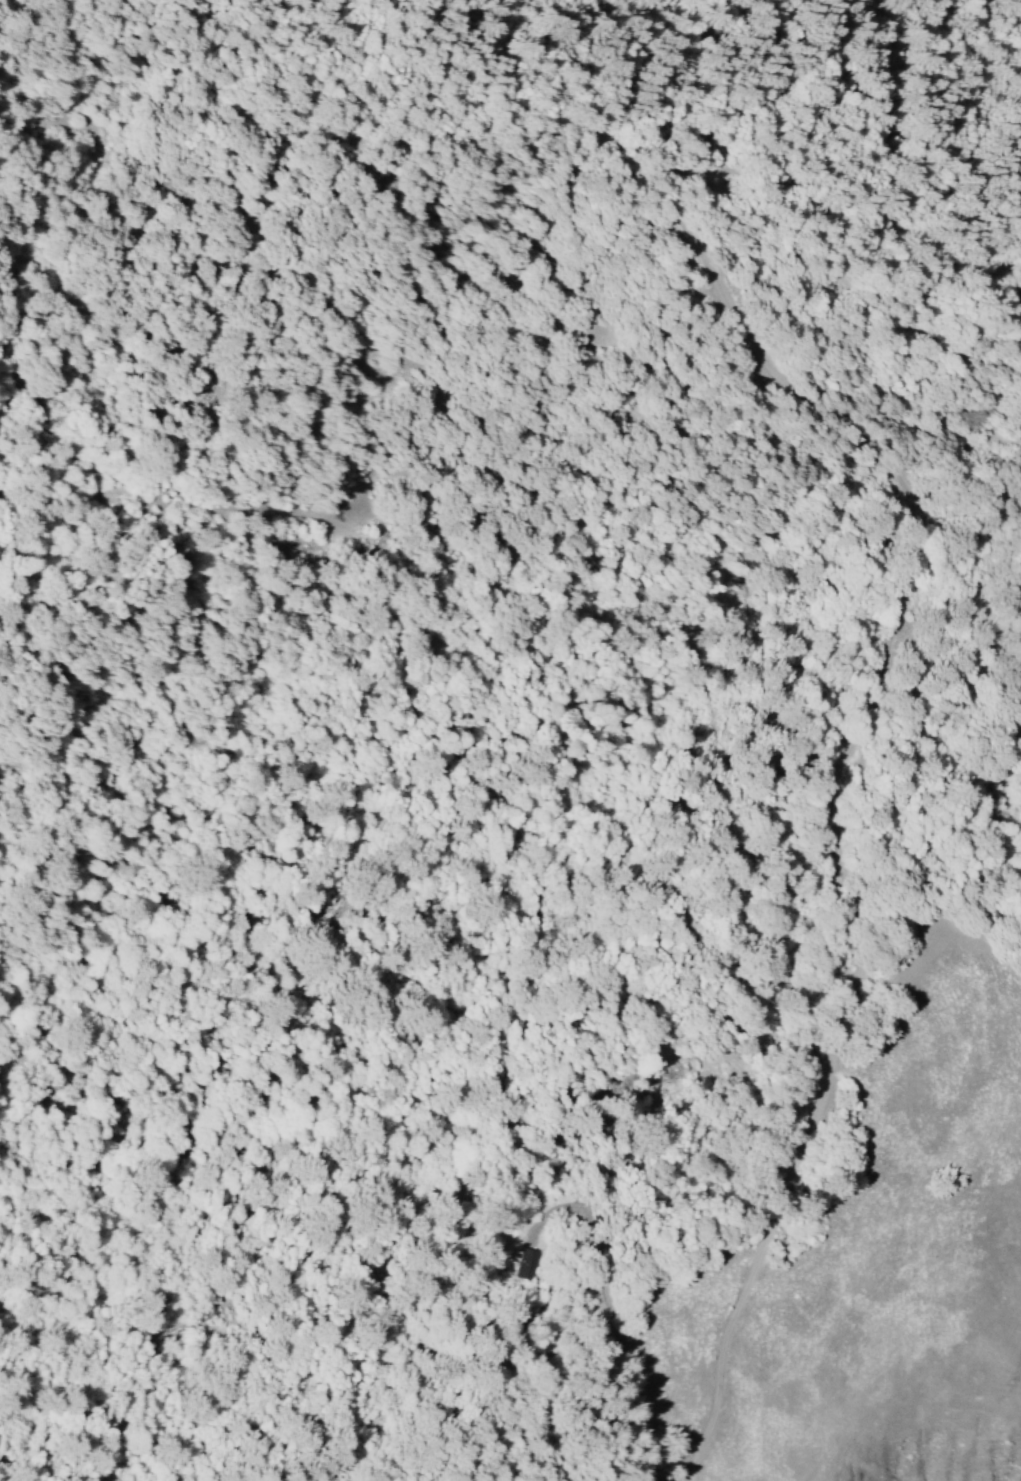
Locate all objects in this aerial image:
building: (527, 1263)

